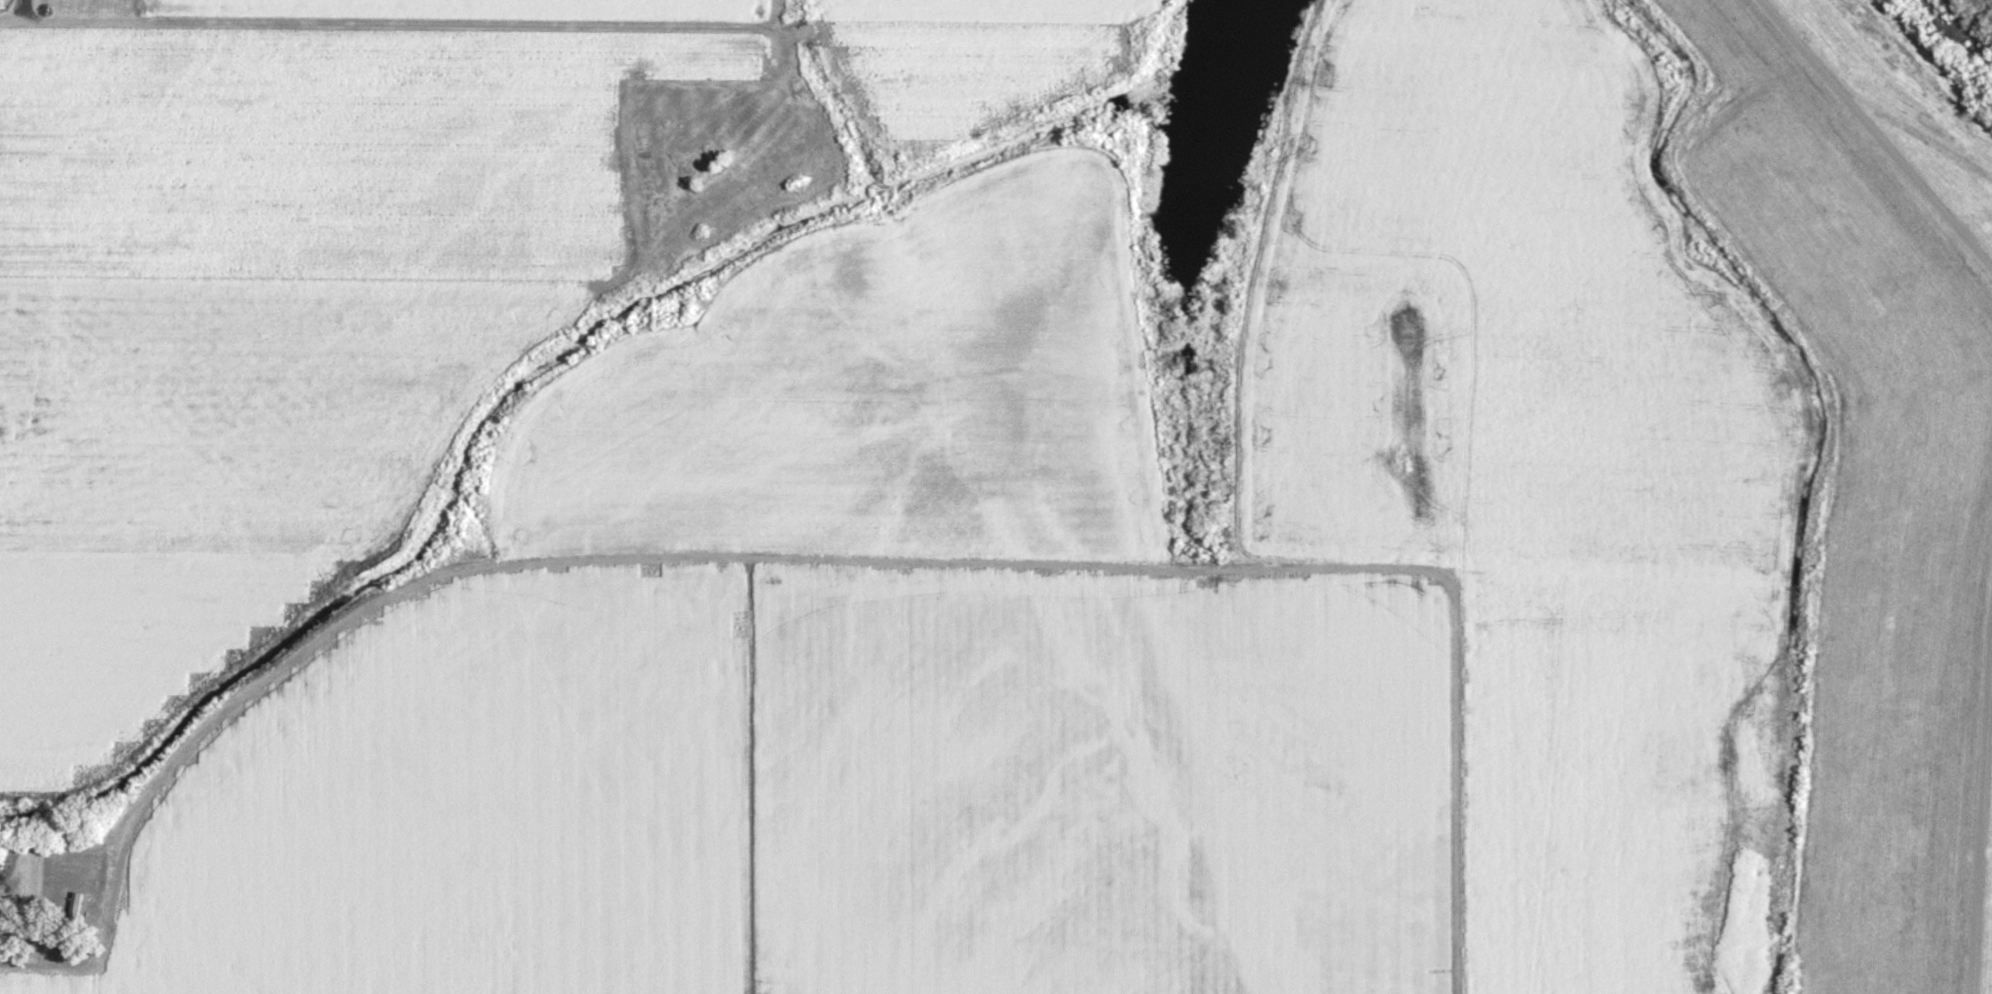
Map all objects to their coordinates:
road: (265, 16)
road: (1875, 136)
road: (1980, 823)
building: (72, 918)

